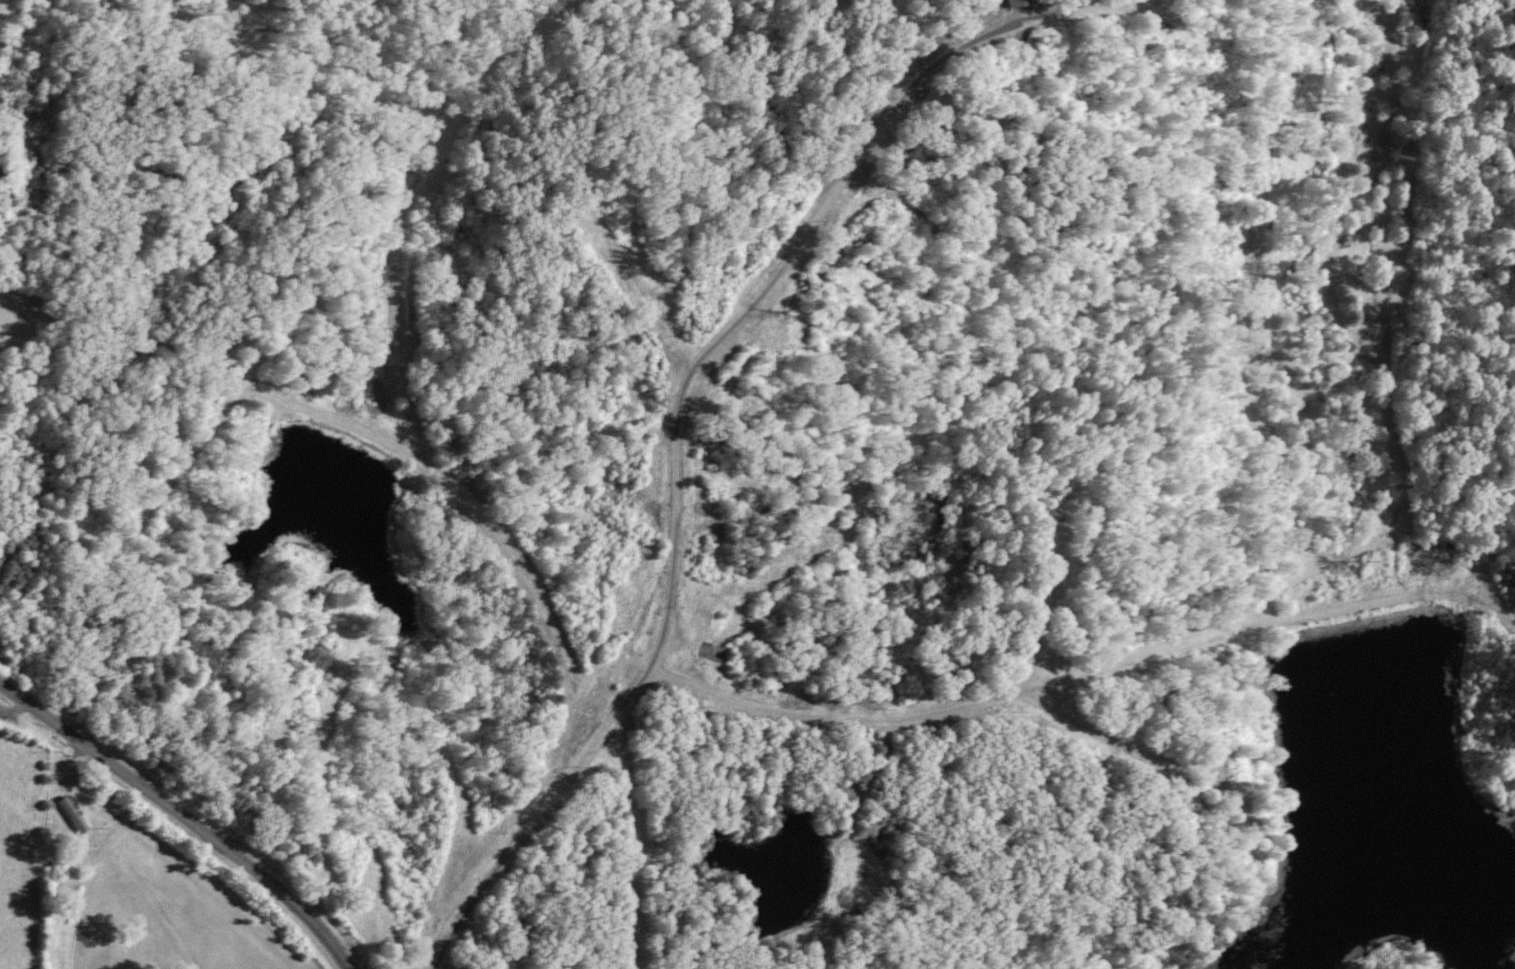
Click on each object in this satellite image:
building: (1017, 2)
building: (1, 168)
road: (679, 421)
building: (71, 815)
road: (184, 815)

